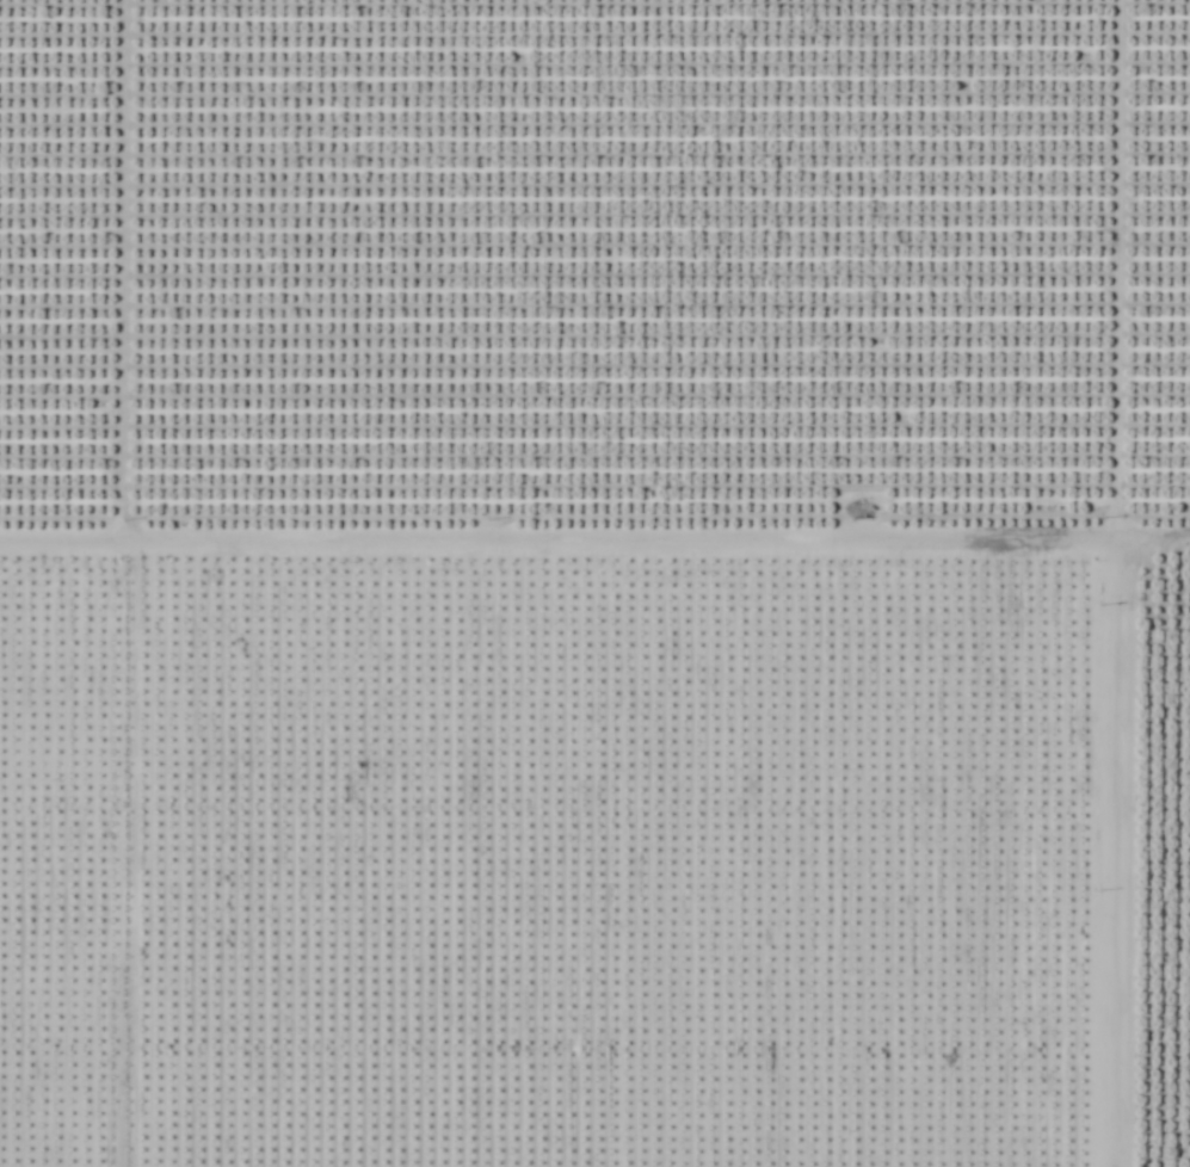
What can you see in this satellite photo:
road: (115, 272)
road: (594, 543)
road: (1102, 582)

